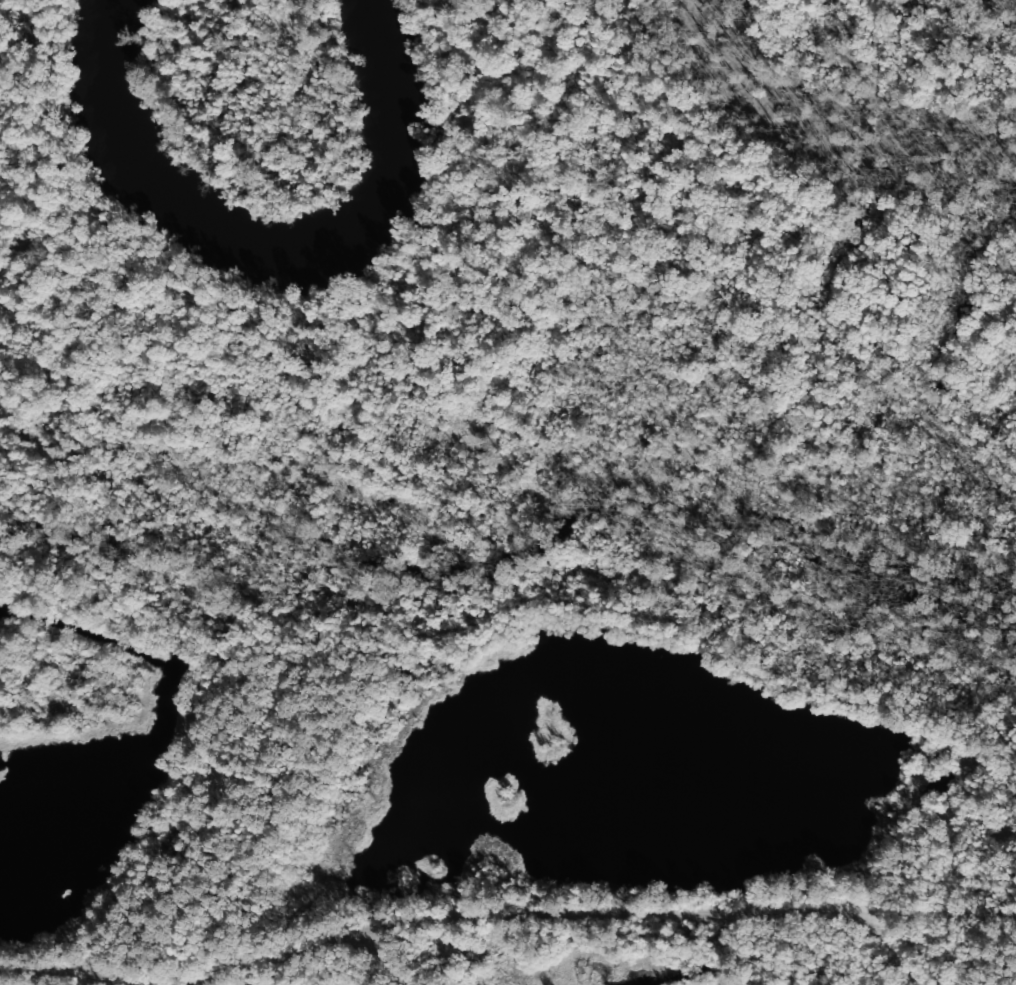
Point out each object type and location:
river: (271, 243)

